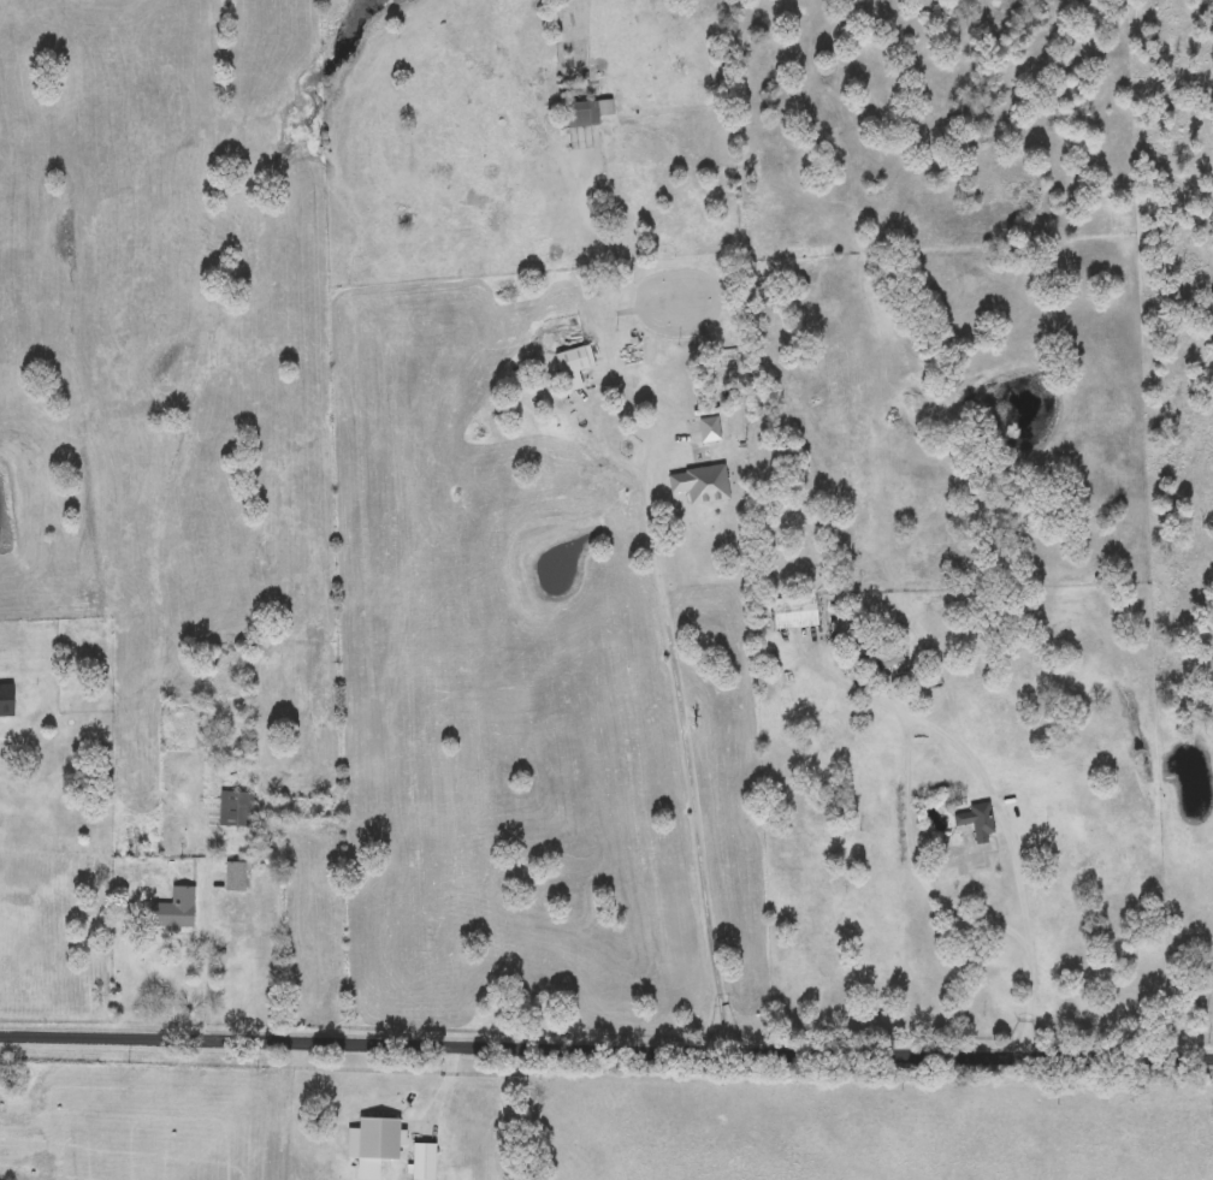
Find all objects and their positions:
building: (584, 115)
building: (574, 367)
building: (709, 429)
building: (700, 484)
building: (794, 613)
building: (890, 660)
building: (6, 700)
road: (949, 736)
road: (692, 783)
building: (238, 810)
building: (977, 820)
building: (236, 876)
building: (174, 911)
road: (208, 968)
road: (605, 1046)

